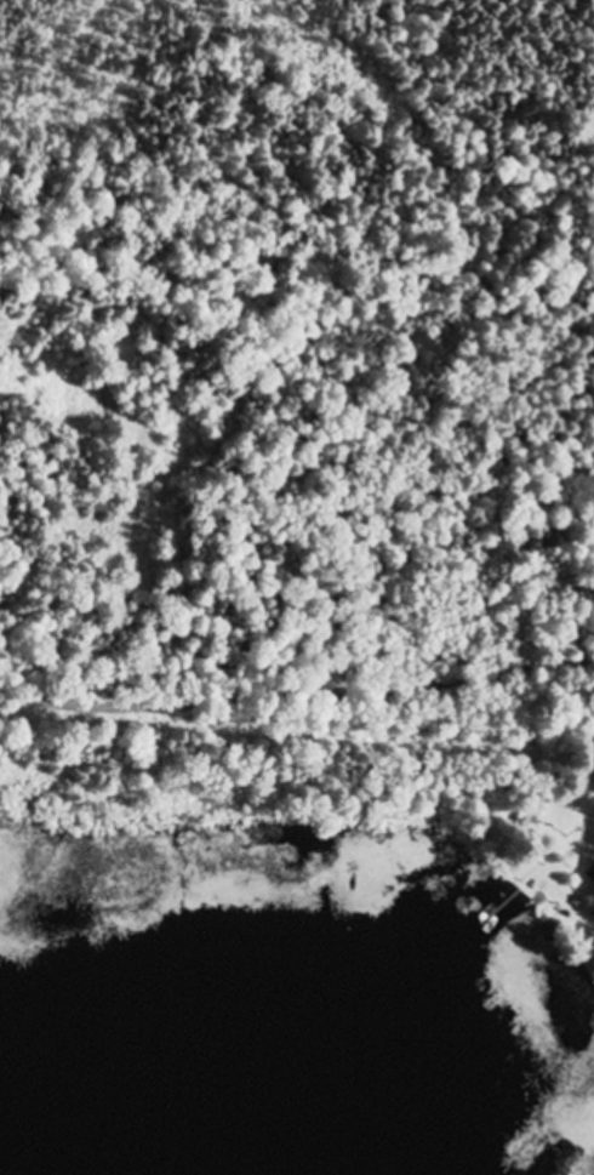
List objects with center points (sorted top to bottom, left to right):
building: (590, 874)

